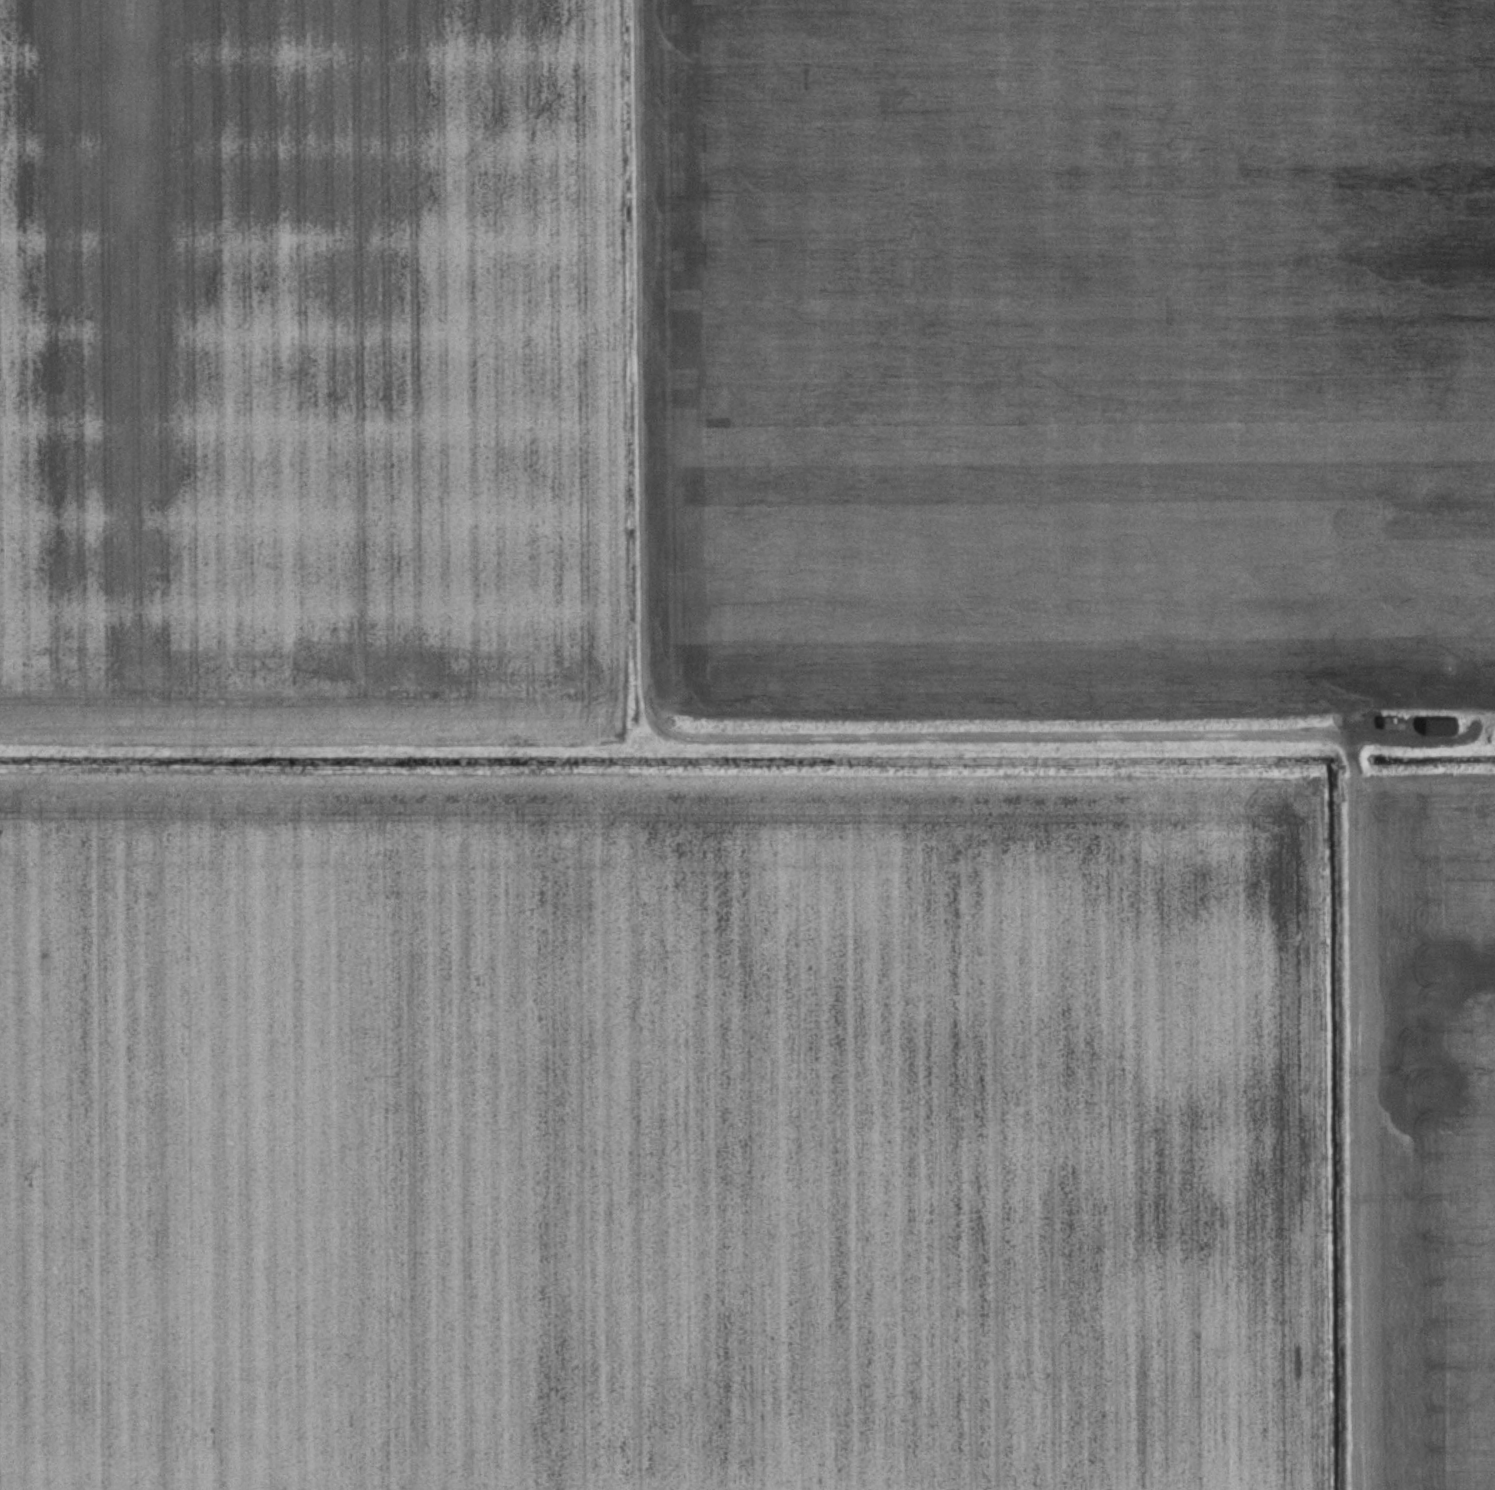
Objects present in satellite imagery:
crop: (745, 358)
building: (1394, 724)
road: (706, 739)
road: (1351, 1109)
crop: (663, 1130)
crop: (1428, 1131)

